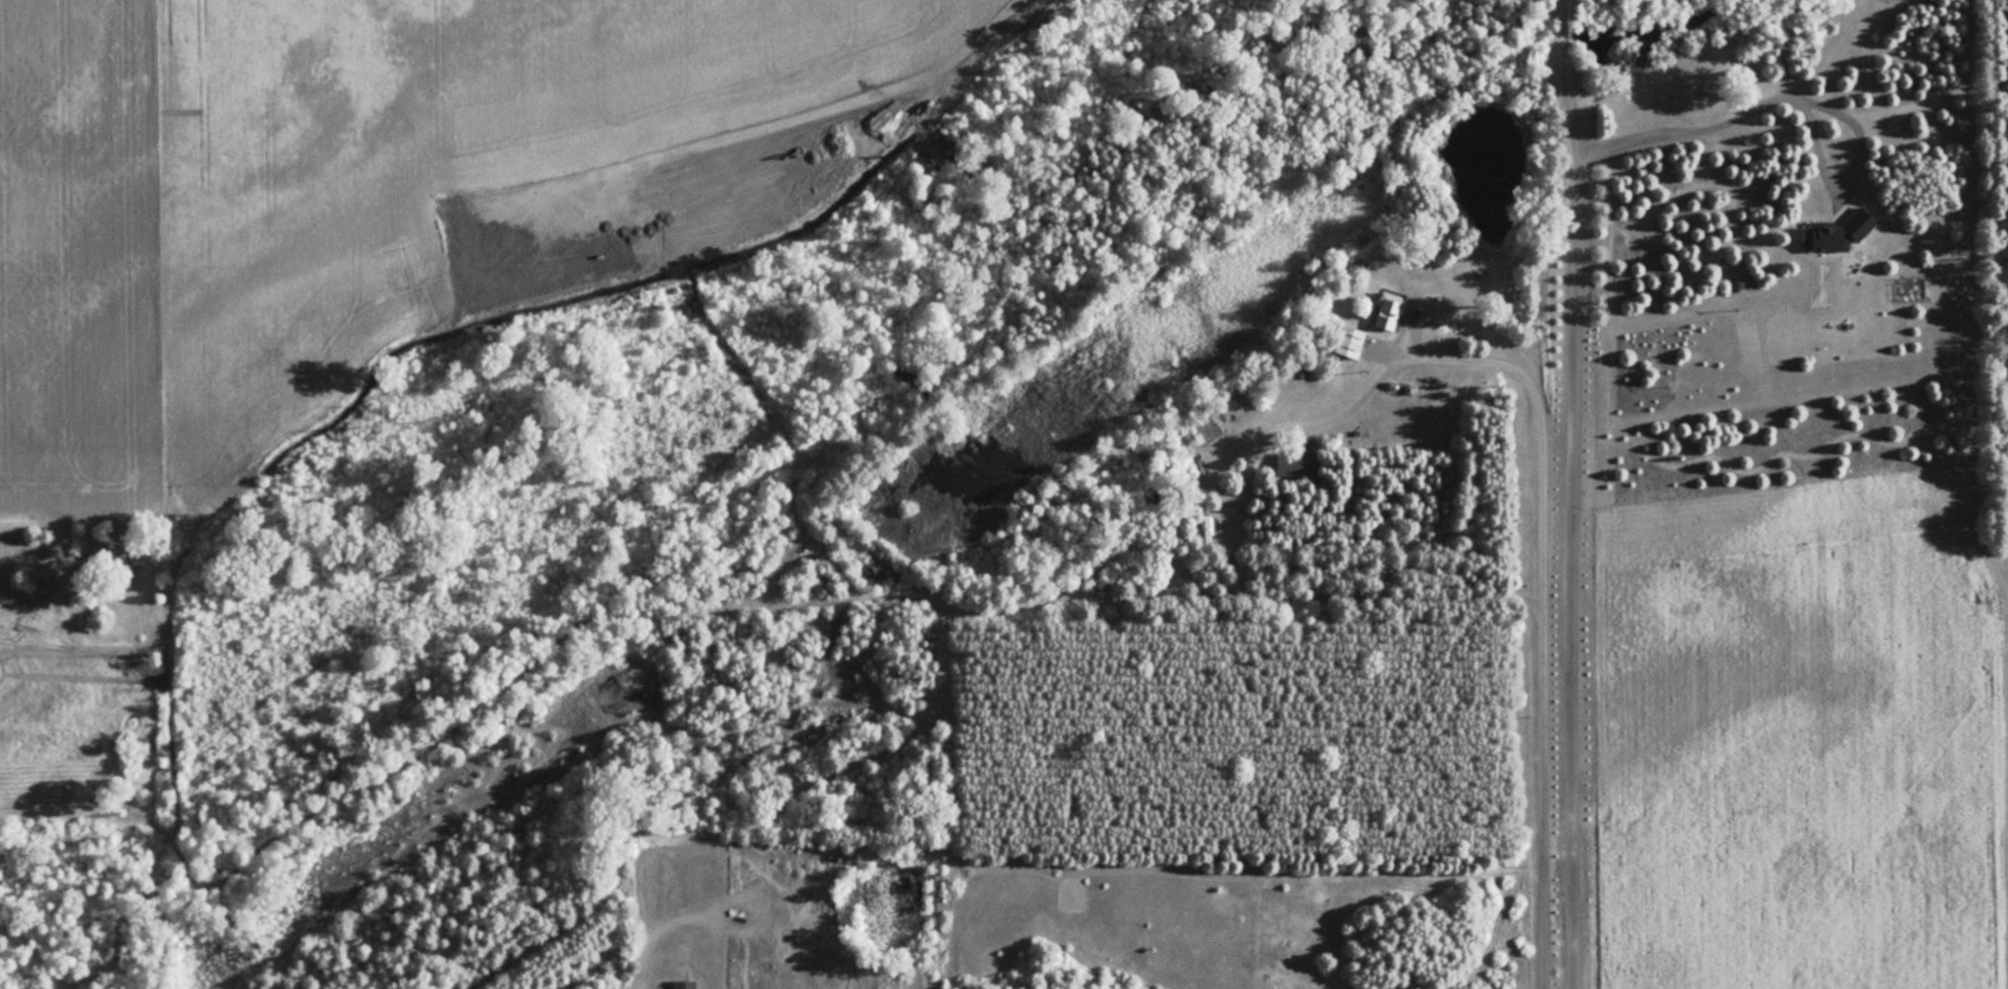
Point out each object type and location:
road: (1851, 163)
building: (1388, 310)
building: (1350, 341)
road: (1572, 447)
building: (1295, 463)
road: (1539, 490)
building: (684, 985)

